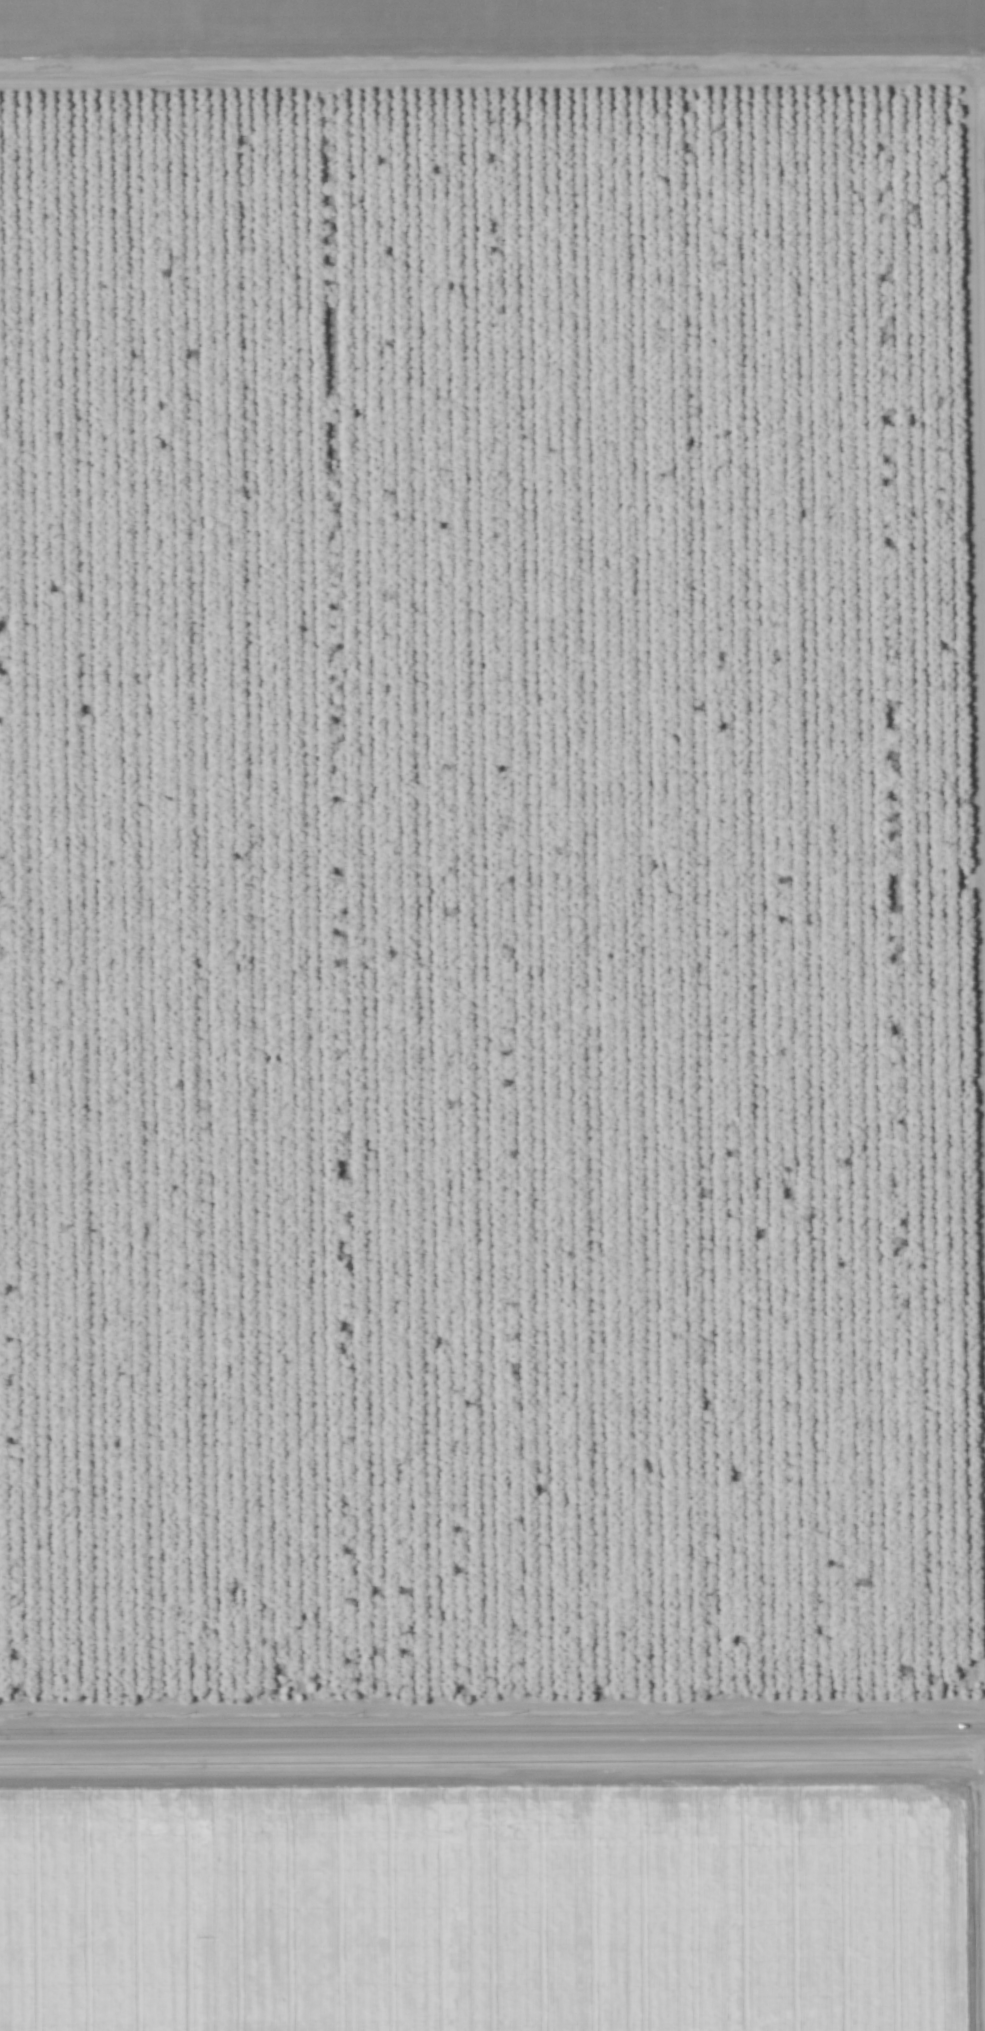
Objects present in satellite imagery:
crop: (487, 27)
crop: (984, 72)
road: (492, 1728)
crop: (492, 1890)

